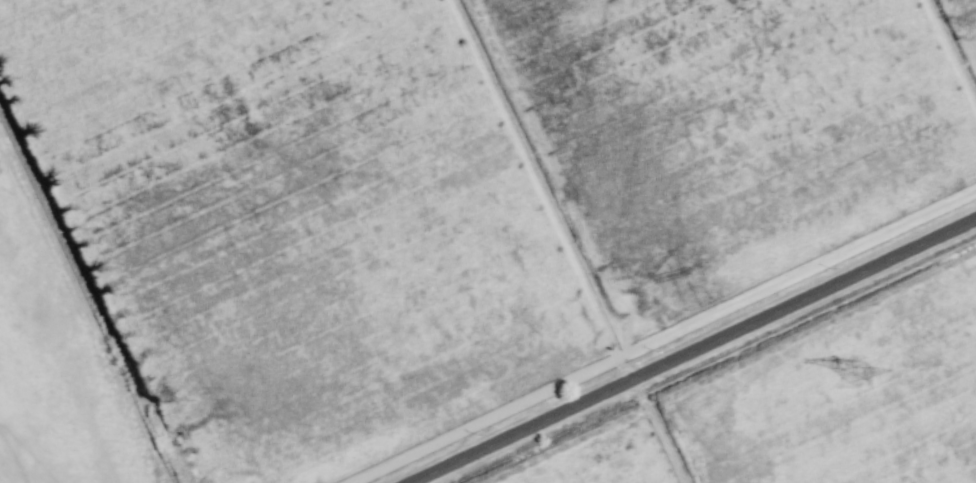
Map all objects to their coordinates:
road: (693, 350)
power tower: (855, 374)

